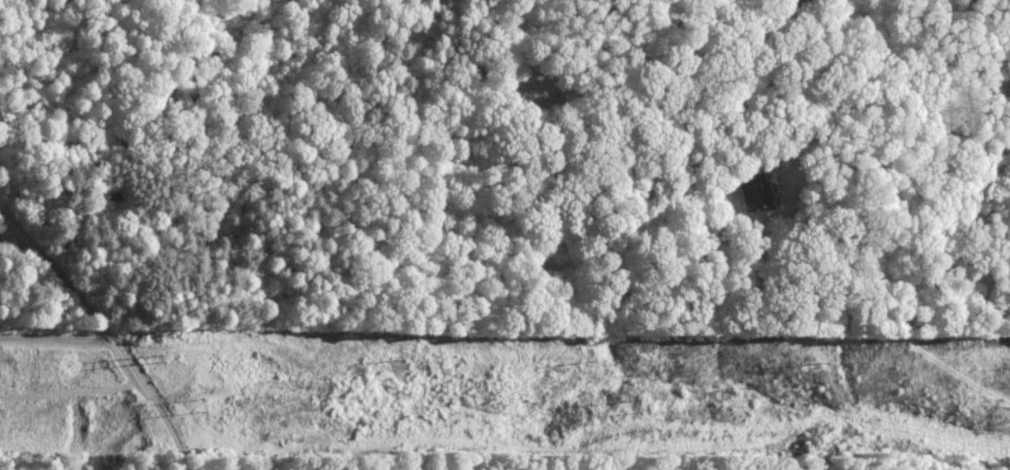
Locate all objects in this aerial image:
road: (421, 138)
building: (754, 192)
road: (108, 326)
road: (55, 335)
power tower: (600, 356)
power tower: (404, 358)
power tower: (167, 359)
power tower: (634, 401)
power tower: (208, 403)

